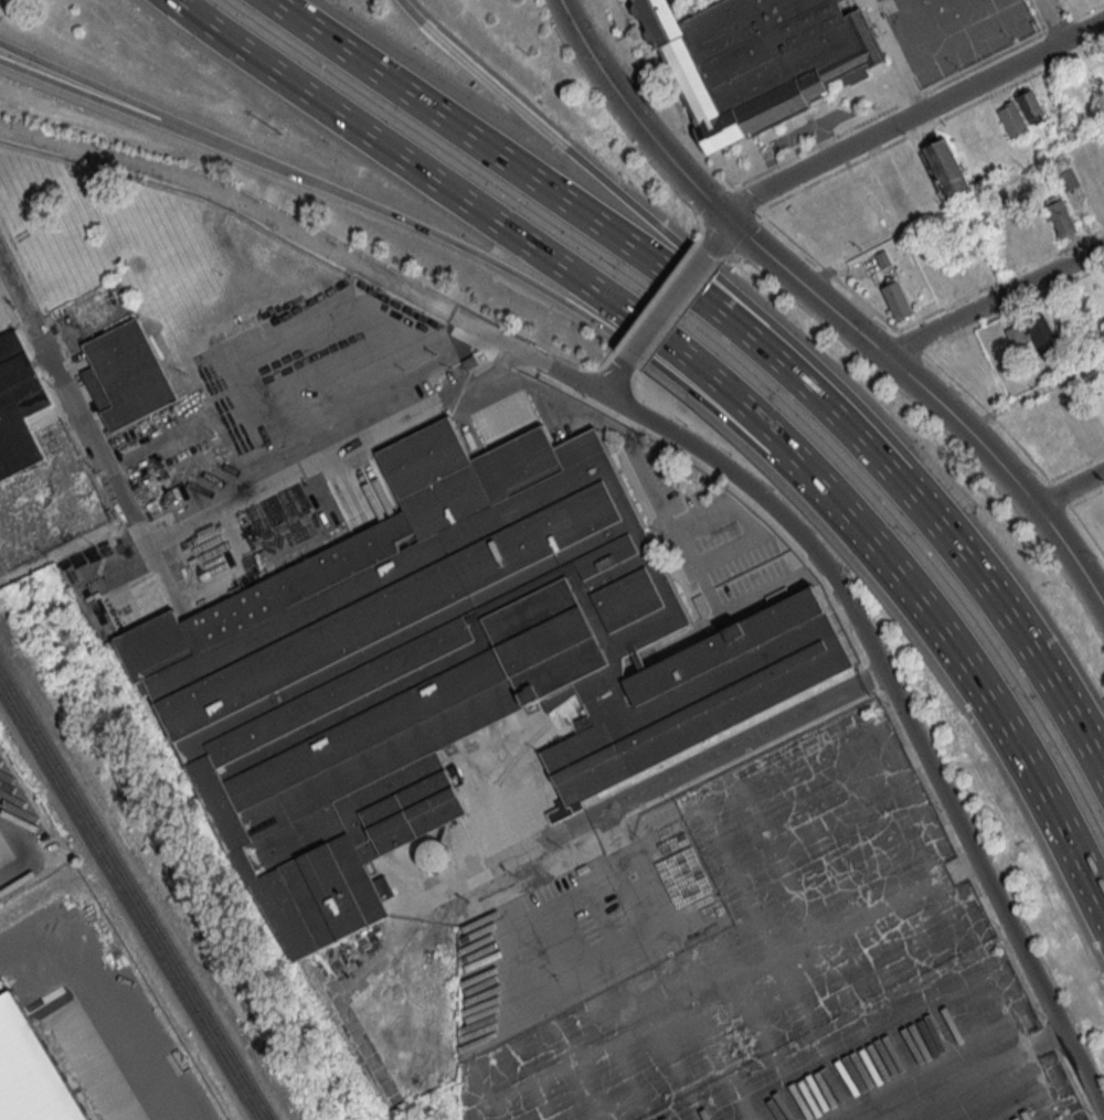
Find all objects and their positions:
road: (1059, 20)
building: (751, 58)
road: (86, 83)
road: (84, 96)
building: (1030, 106)
road: (637, 116)
road: (912, 116)
road: (523, 118)
building: (1015, 121)
street lamp: (282, 135)
building: (947, 168)
building: (1068, 181)
building: (1098, 198)
road: (954, 205)
traffic signals: (729, 221)
building: (1063, 221)
building: (1043, 227)
road: (520, 237)
road: (715, 237)
road: (309, 239)
building: (1021, 243)
road: (652, 269)
road: (523, 284)
building: (900, 298)
road: (997, 300)
road: (661, 310)
building: (1041, 334)
building: (1017, 337)
building: (129, 373)
road: (78, 381)
road: (612, 381)
road: (934, 393)
road: (847, 394)
road: (1037, 394)
road: (70, 404)
building: (15, 405)
building: (1092, 428)
building: (1047, 448)
road: (332, 452)
road: (699, 463)
road: (1071, 489)
road: (1101, 588)
building: (445, 669)
road: (1051, 683)
road: (989, 697)
road: (902, 708)
road: (732, 745)
building: (432, 854)
road: (17, 865)
railway: (136, 893)
railway: (130, 903)
road: (103, 999)
building: (31, 1070)

